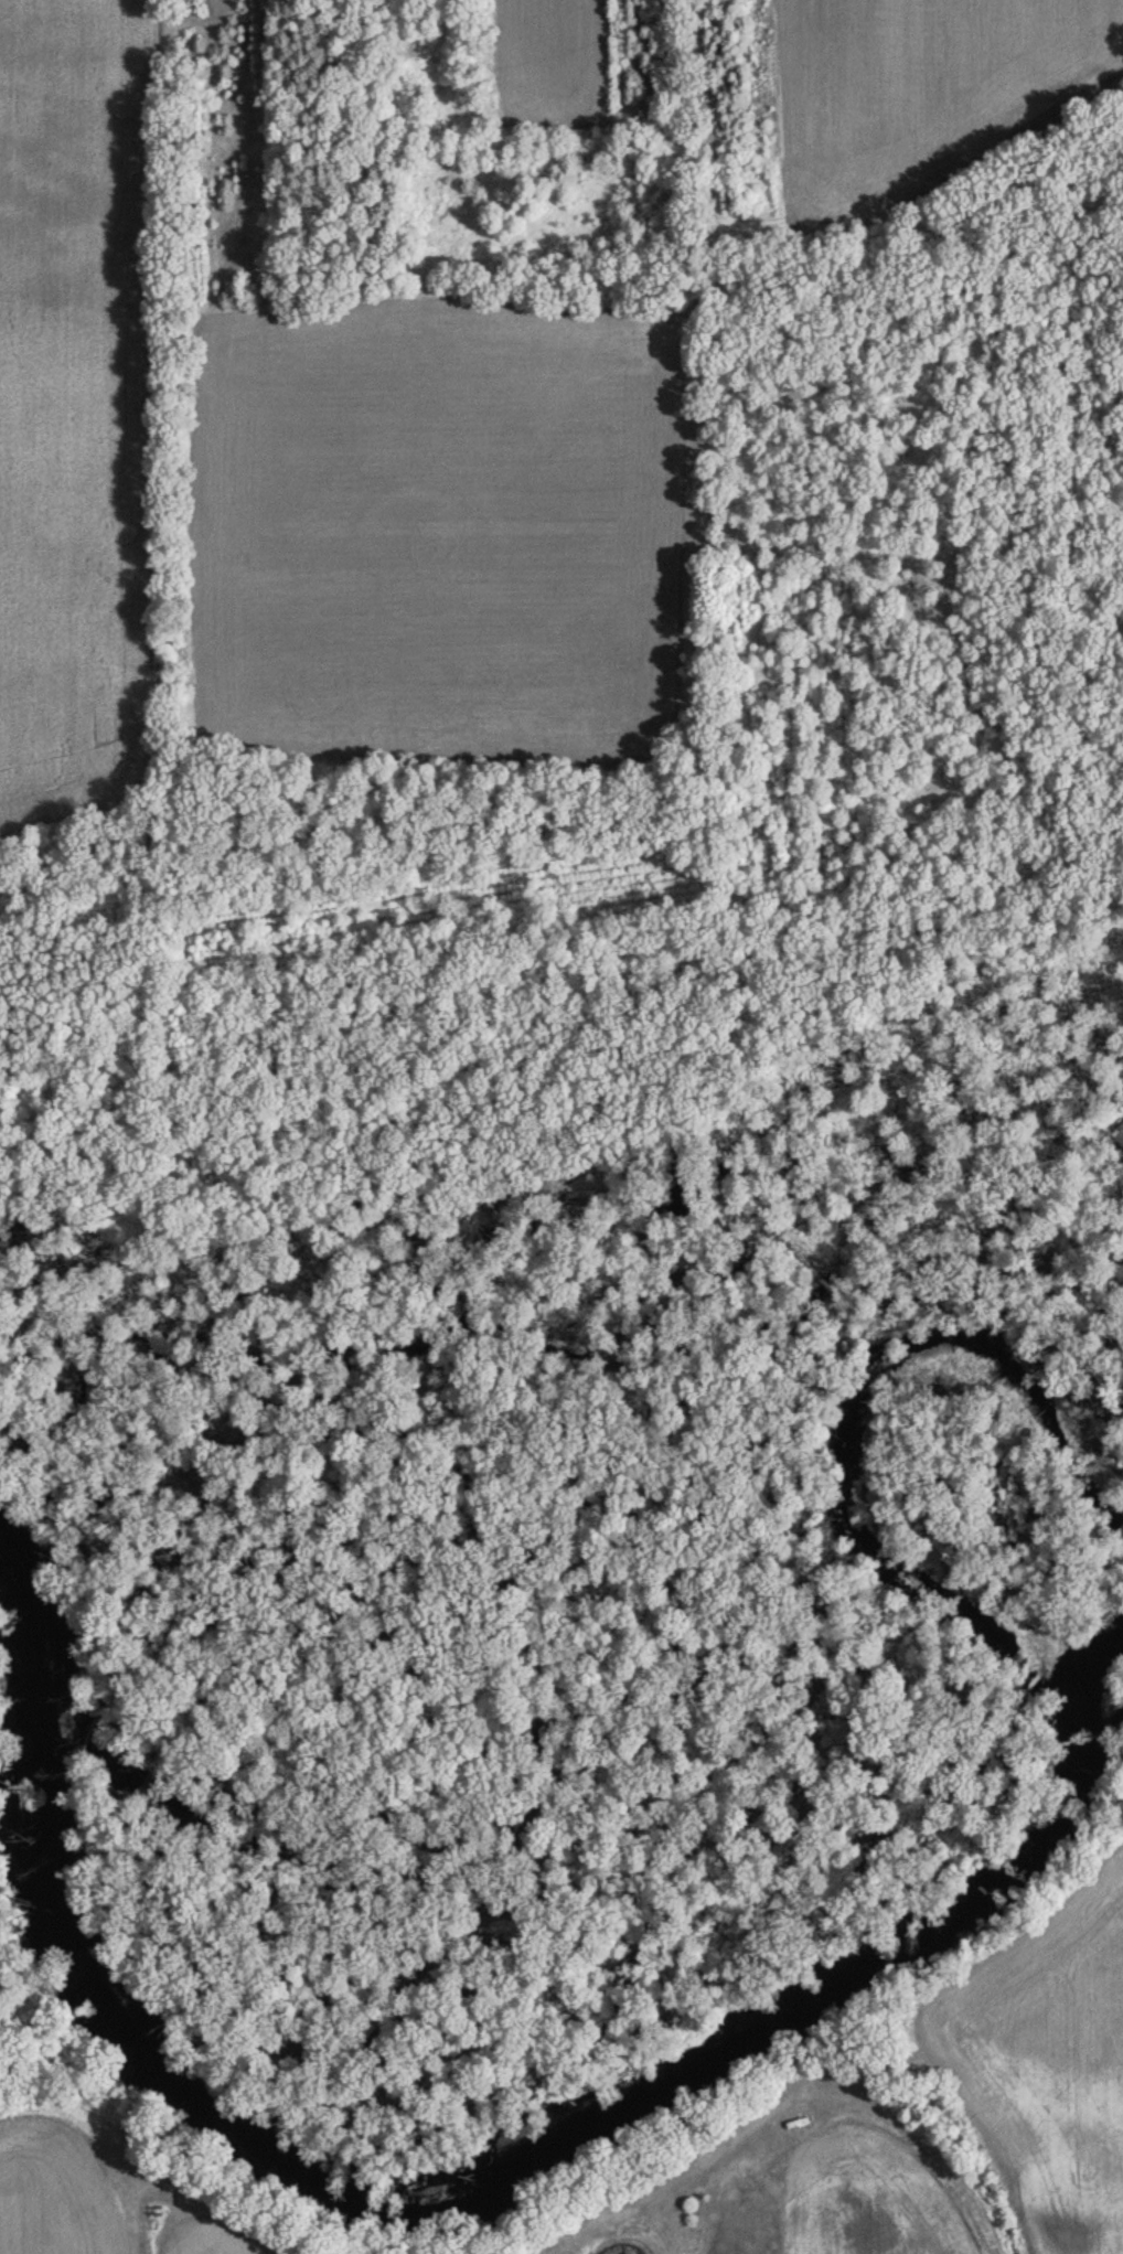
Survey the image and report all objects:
river: (755, 2030)

